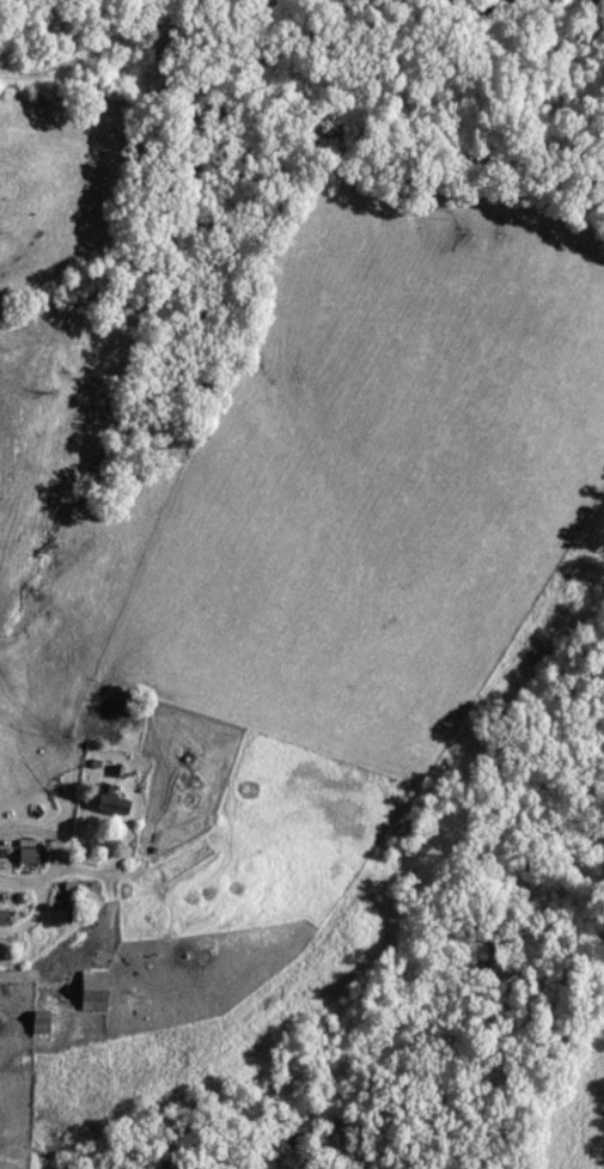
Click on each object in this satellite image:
building: (110, 800)
building: (68, 896)
building: (4, 919)
building: (93, 992)

